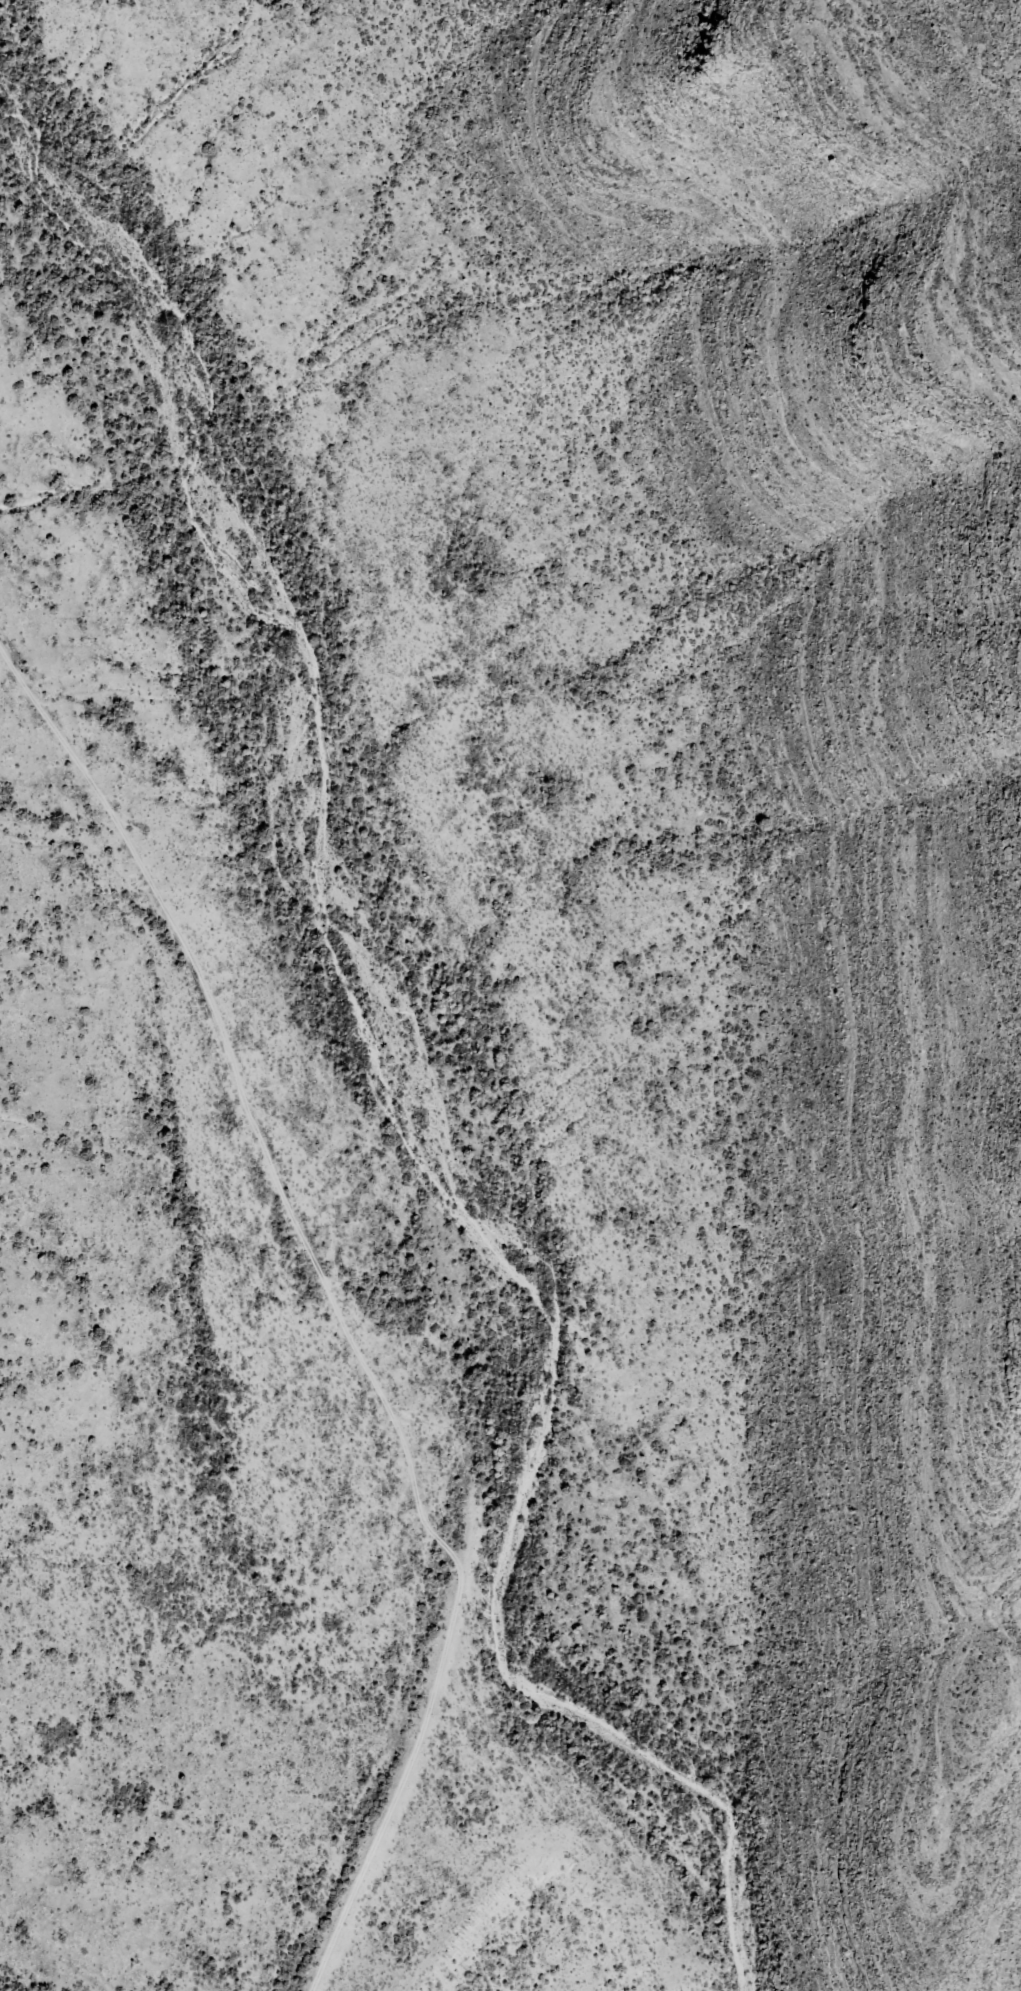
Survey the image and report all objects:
road: (334, 1307)

